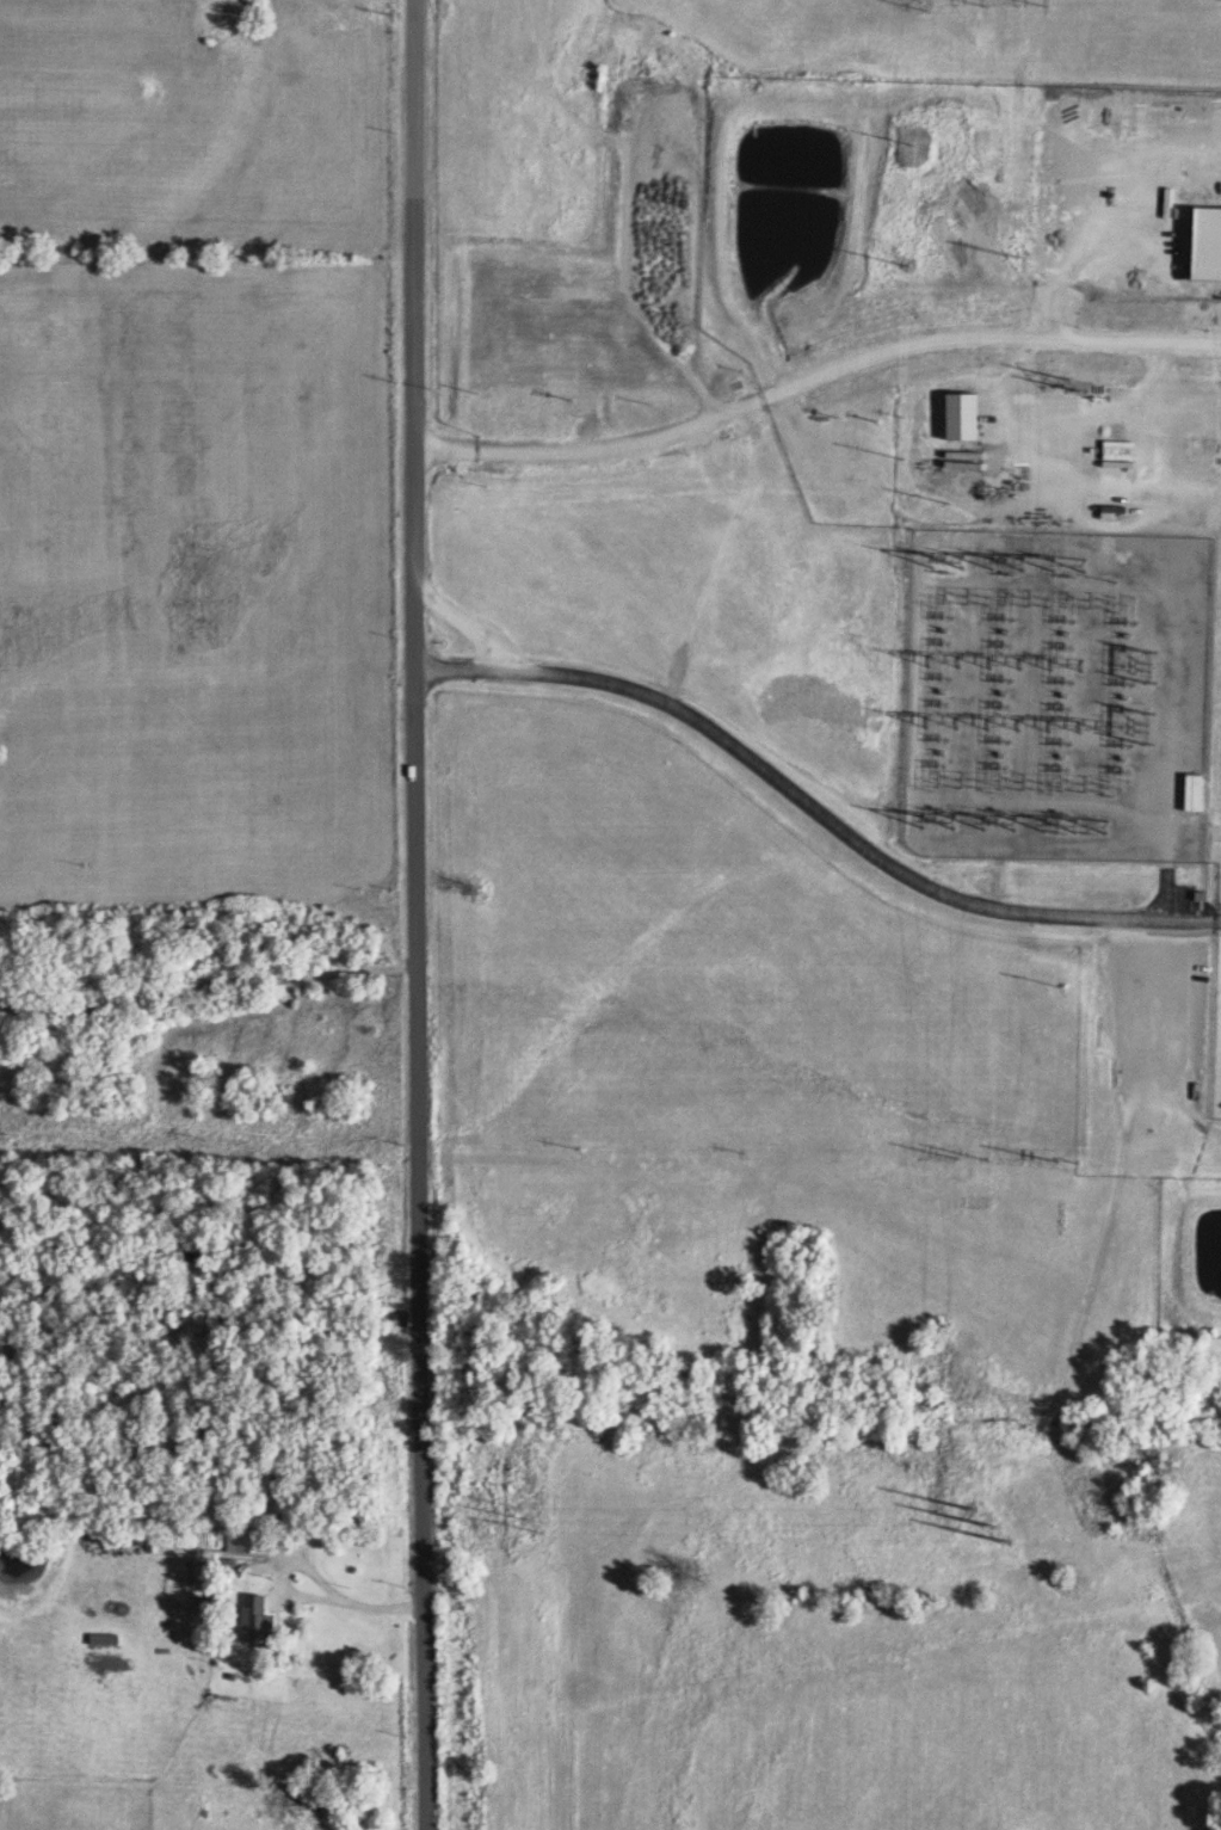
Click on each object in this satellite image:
road: (1116, 228)
road: (989, 335)
building: (954, 414)
building: (1203, 443)
road: (597, 451)
road: (473, 621)
road: (415, 677)
power substation: (1057, 697)
power plant: (840, 717)
road: (812, 808)
road: (1220, 924)
building: (247, 1539)
road: (423, 1591)
road: (346, 1602)
building: (259, 1619)

